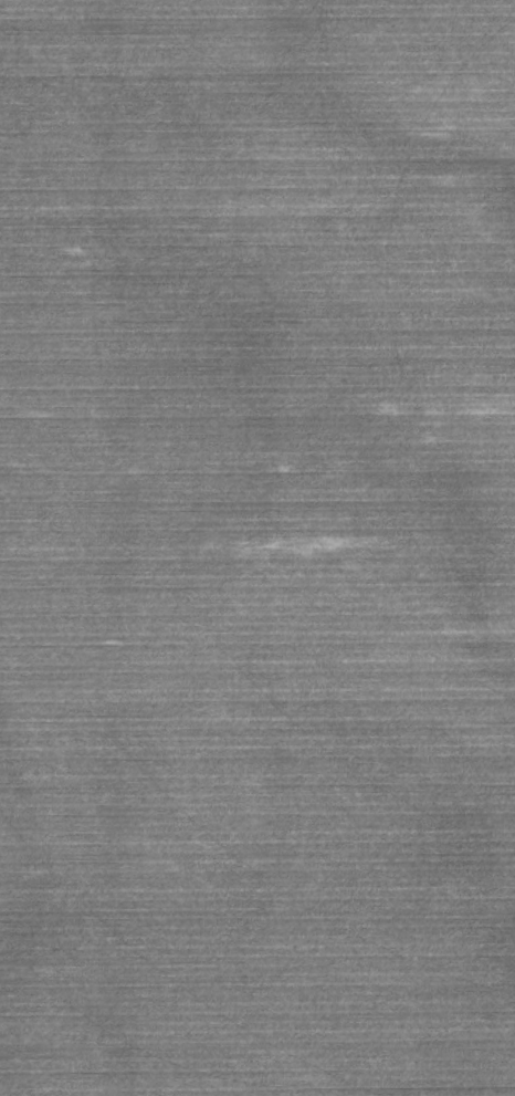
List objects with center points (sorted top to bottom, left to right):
crop: (257, 547)

